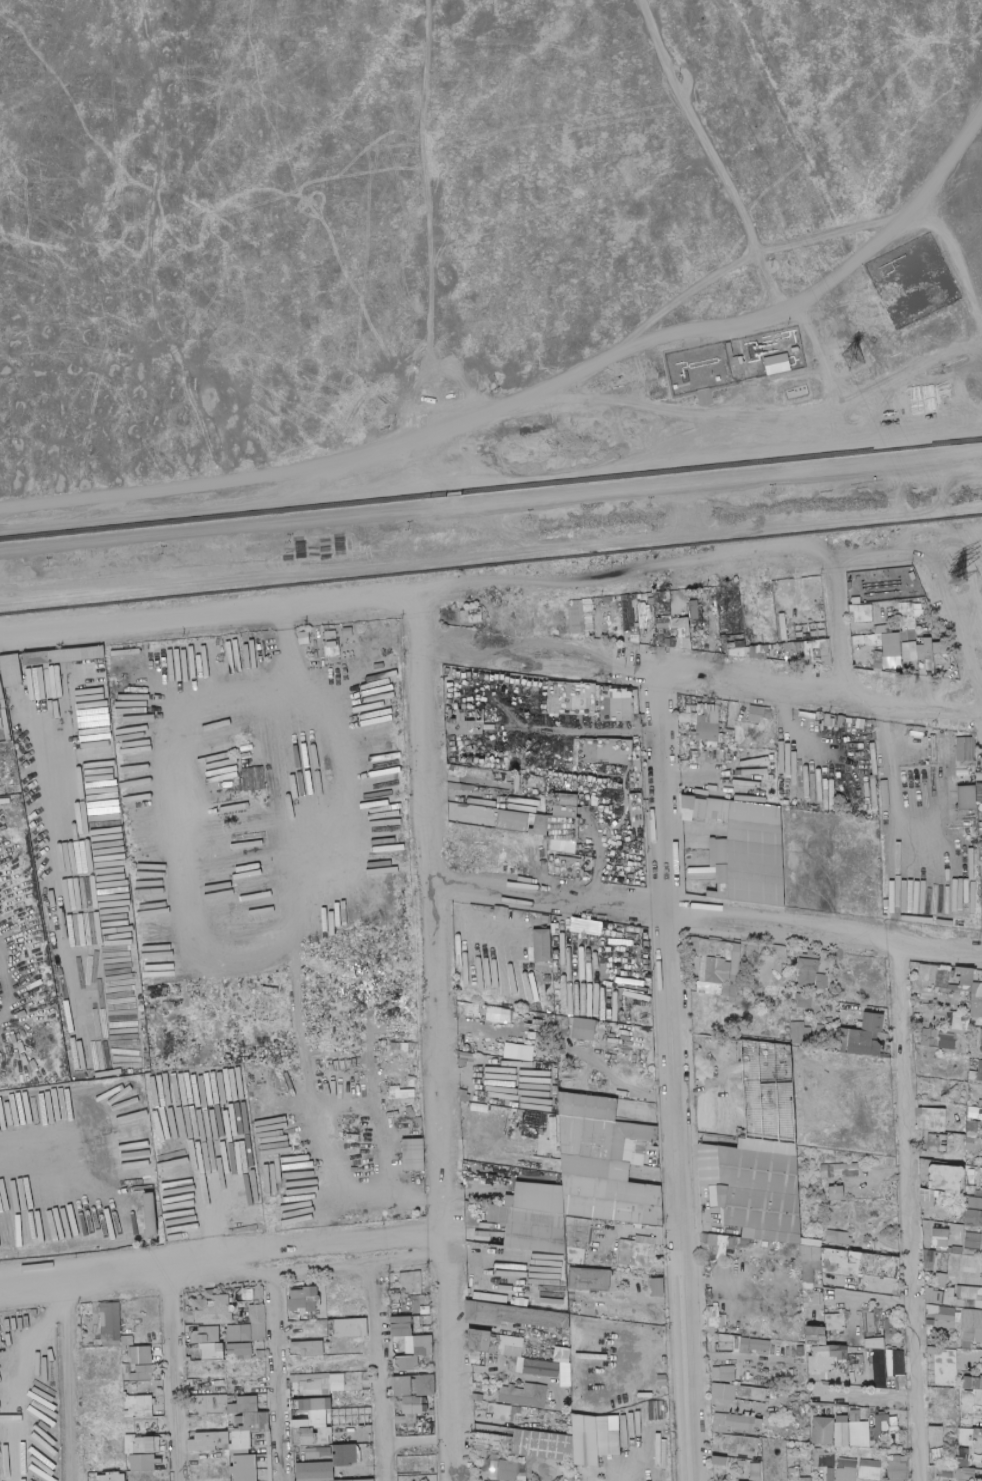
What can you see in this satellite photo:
road: (713, 156)
road: (436, 227)
road: (748, 257)
building: (913, 279)
road: (789, 309)
road: (494, 421)
road: (707, 455)
road: (936, 465)
road: (491, 499)
road: (217, 507)
road: (440, 519)
road: (949, 544)
road: (490, 552)
road: (662, 562)
power tower: (960, 574)
building: (913, 575)
building: (734, 585)
building: (849, 587)
building: (667, 595)
building: (607, 599)
building: (856, 600)
building: (865, 601)
building: (901, 601)
building: (767, 602)
building: (719, 603)
building: (888, 603)
building: (729, 604)
building: (587, 605)
building: (606, 606)
road: (226, 607)
building: (552, 607)
building: (908, 608)
building: (648, 609)
building: (630, 611)
building: (663, 611)
building: (694, 611)
building: (732, 611)
building: (862, 612)
building: (475, 614)
building: (464, 615)
building: (576, 615)
building: (853, 616)
building: (528, 618)
building: (588, 621)
building: (663, 622)
building: (680, 622)
road: (949, 622)
building: (670, 623)
road: (834, 623)
building: (908, 623)
building: (479, 624)
building: (697, 625)
building: (895, 628)
building: (883, 629)
road: (23, 630)
building: (348, 632)
building: (642, 632)
building: (684, 632)
building: (583, 633)
building: (935, 633)
building: (587, 634)
building: (923, 634)
building: (331, 635)
building: (908, 635)
building: (303, 636)
building: (628, 636)
building: (208, 637)
building: (649, 638)
building: (873, 638)
building: (918, 638)
building: (922, 640)
building: (668, 642)
building: (673, 642)
building: (332, 643)
building: (683, 643)
building: (694, 647)
building: (940, 647)
building: (898, 649)
building: (747, 651)
building: (817, 651)
building: (909, 651)
building: (926, 653)
building: (59, 655)
building: (878, 659)
building: (942, 659)
building: (906, 666)
building: (10, 669)
building: (885, 669)
building: (925, 669)
building: (891, 670)
building: (918, 672)
building: (939, 673)
road: (698, 678)
building: (680, 699)
building: (689, 703)
building: (622, 704)
building: (726, 711)
building: (757, 712)
building: (399, 714)
building: (768, 714)
building: (710, 717)
building: (694, 721)
road: (789, 724)
building: (923, 730)
building: (708, 731)
road: (313, 733)
road: (419, 733)
building: (964, 734)
building: (969, 734)
building: (688, 735)
building: (941, 736)
building: (700, 743)
building: (927, 746)
building: (701, 748)
building: (964, 748)
building: (931, 749)
building: (690, 750)
building: (768, 751)
building: (768, 754)
building: (701, 756)
building: (684, 762)
building: (927, 762)
building: (769, 772)
road: (890, 772)
building: (936, 773)
road: (704, 777)
building: (253, 778)
building: (791, 779)
building: (979, 793)
building: (815, 797)
building: (967, 797)
building: (565, 805)
building: (688, 806)
building: (718, 808)
building: (700, 809)
building: (972, 811)
building: (512, 820)
building: (754, 823)
building: (883, 824)
building: (539, 825)
building: (557, 826)
building: (965, 831)
building: (980, 831)
building: (548, 835)
building: (981, 844)
building: (884, 849)
building: (718, 851)
building: (981, 856)
building: (566, 863)
building: (574, 865)
building: (755, 872)
building: (722, 873)
building: (887, 882)
building: (719, 891)
building: (886, 898)
building: (501, 910)
road: (706, 911)
building: (536, 915)
building: (545, 919)
building: (914, 920)
road: (471, 927)
building: (715, 938)
building: (554, 941)
road: (570, 942)
building: (543, 944)
building: (694, 945)
building: (711, 948)
building: (806, 953)
building: (833, 953)
building: (728, 962)
building: (735, 963)
building: (808, 964)
building: (916, 965)
building: (948, 968)
building: (702, 969)
building: (715, 969)
building: (975, 971)
building: (818, 972)
building: (951, 972)
building: (927, 974)
building: (959, 974)
building: (978, 976)
building: (548, 978)
building: (942, 978)
building: (954, 978)
building: (966, 978)
building: (812, 979)
building: (731, 982)
building: (957, 983)
building: (953, 987)
building: (270, 989)
building: (733, 989)
building: (976, 991)
building: (744, 992)
building: (732, 1000)
building: (803, 1000)
building: (460, 1005)
building: (471, 1008)
building: (976, 1008)
building: (489, 1011)
building: (506, 1014)
building: (543, 1015)
building: (795, 1018)
building: (830, 1020)
building: (954, 1020)
building: (872, 1022)
building: (561, 1023)
building: (859, 1025)
building: (584, 1028)
building: (800, 1032)
building: (836, 1034)
building: (848, 1035)
building: (844, 1038)
building: (939, 1039)
building: (788, 1040)
building: (863, 1043)
building: (152, 1046)
building: (563, 1050)
building: (545, 1071)
building: (979, 1072)
road: (673, 1077)
building: (973, 1077)
road: (631, 1084)
building: (408, 1093)
building: (981, 1103)
building: (587, 1106)
building: (963, 1113)
building: (975, 1113)
road: (381, 1119)
building: (935, 1119)
building: (419, 1121)
building: (571, 1134)
building: (612, 1137)
building: (362, 1143)
building: (413, 1154)
road: (321, 1170)
building: (839, 1171)
building: (149, 1172)
building: (306, 1173)
road: (446, 1180)
building: (754, 1187)
building: (171, 1188)
building: (836, 1193)
building: (928, 1198)
building: (166, 1199)
building: (975, 1203)
road: (206, 1206)
road: (907, 1207)
building: (149, 1215)
building: (976, 1218)
building: (838, 1237)
building: (940, 1238)
building: (973, 1241)
building: (731, 1242)
building: (715, 1243)
building: (636, 1250)
building: (929, 1260)
building: (873, 1264)
building: (588, 1280)
building: (411, 1281)
building: (657, 1287)
building: (934, 1296)
building: (966, 1297)
building: (303, 1300)
building: (211, 1309)
building: (513, 1316)
building: (943, 1316)
building: (110, 1322)
building: (259, 1322)
building: (973, 1324)
building: (349, 1328)
building: (238, 1333)
building: (0, 1336)
building: (127, 1341)
building: (478, 1341)
building: (208, 1343)
building: (409, 1344)
building: (511, 1346)
building: (755, 1346)
building: (306, 1348)
building: (241, 1351)
building: (140, 1355)
building: (562, 1355)
building: (787, 1355)
building: (826, 1358)
building: (856, 1369)
building: (879, 1369)
building: (898, 1369)
building: (143, 1373)
building: (724, 1373)
building: (948, 1375)
building: (835, 1377)
building: (333, 1383)
building: (724, 1392)
building: (414, 1393)
building: (747, 1394)
building: (972, 1394)
building: (524, 1395)
building: (656, 1410)
building: (499, 1412)
building: (312, 1420)
building: (405, 1420)
building: (736, 1423)
building: (843, 1424)
building: (883, 1429)
building: (822, 1431)
building: (937, 1435)
building: (295, 1436)
building: (207, 1441)
building: (561, 1443)
building: (967, 1443)
building: (139, 1445)
building: (741, 1445)
building: (312, 1454)
building: (824, 1458)
building: (962, 1458)
building: (719, 1461)
building: (141, 1463)
building: (244, 1468)
building: (262, 1468)
building: (846, 1469)
building: (870, 1469)
building: (898, 1469)
building: (508, 1470)
building: (315, 1472)
building: (755, 1473)
building: (831, 1474)
building: (796, 1475)
building: (957, 1475)
building: (433, 1477)

